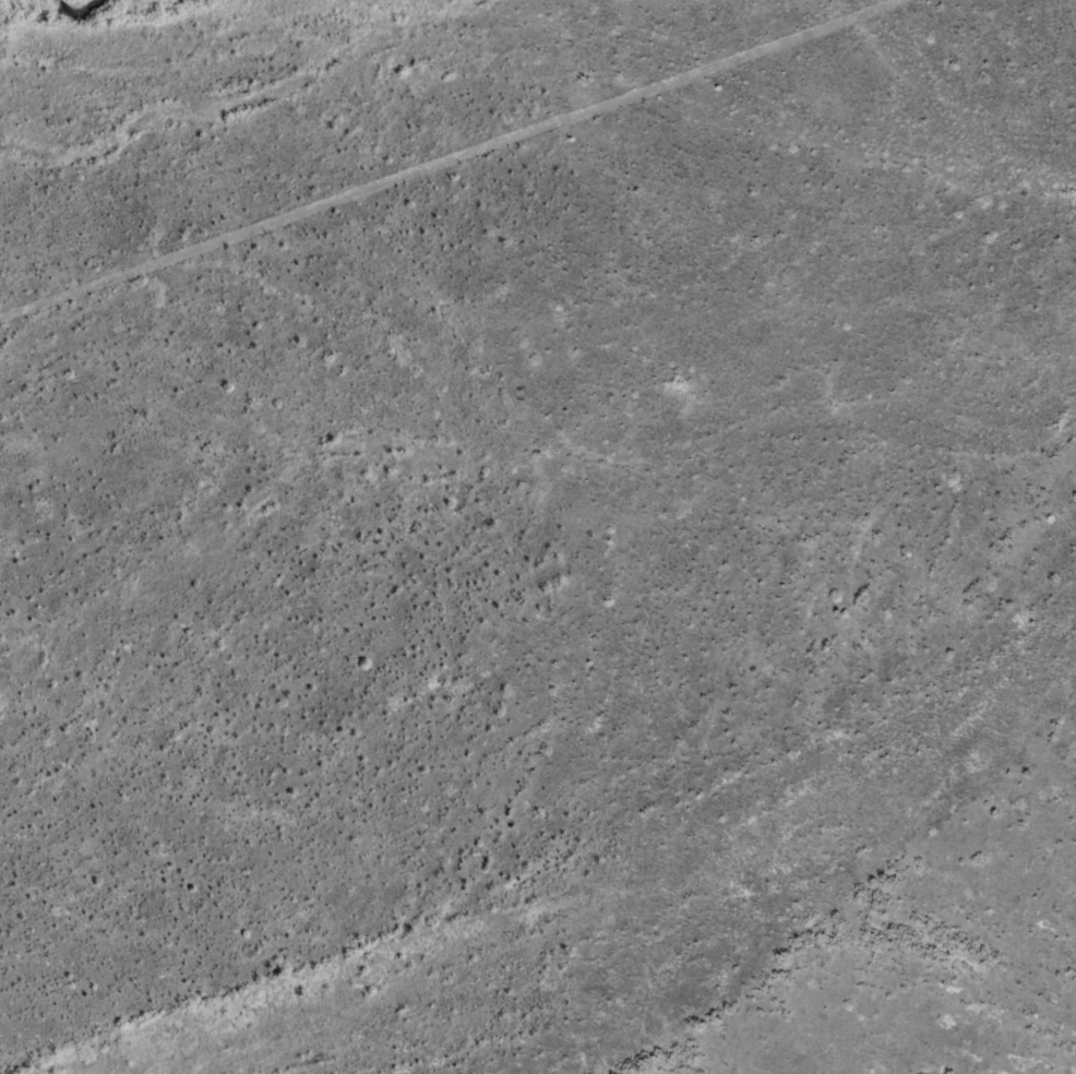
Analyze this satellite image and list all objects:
river: (72, 9)

